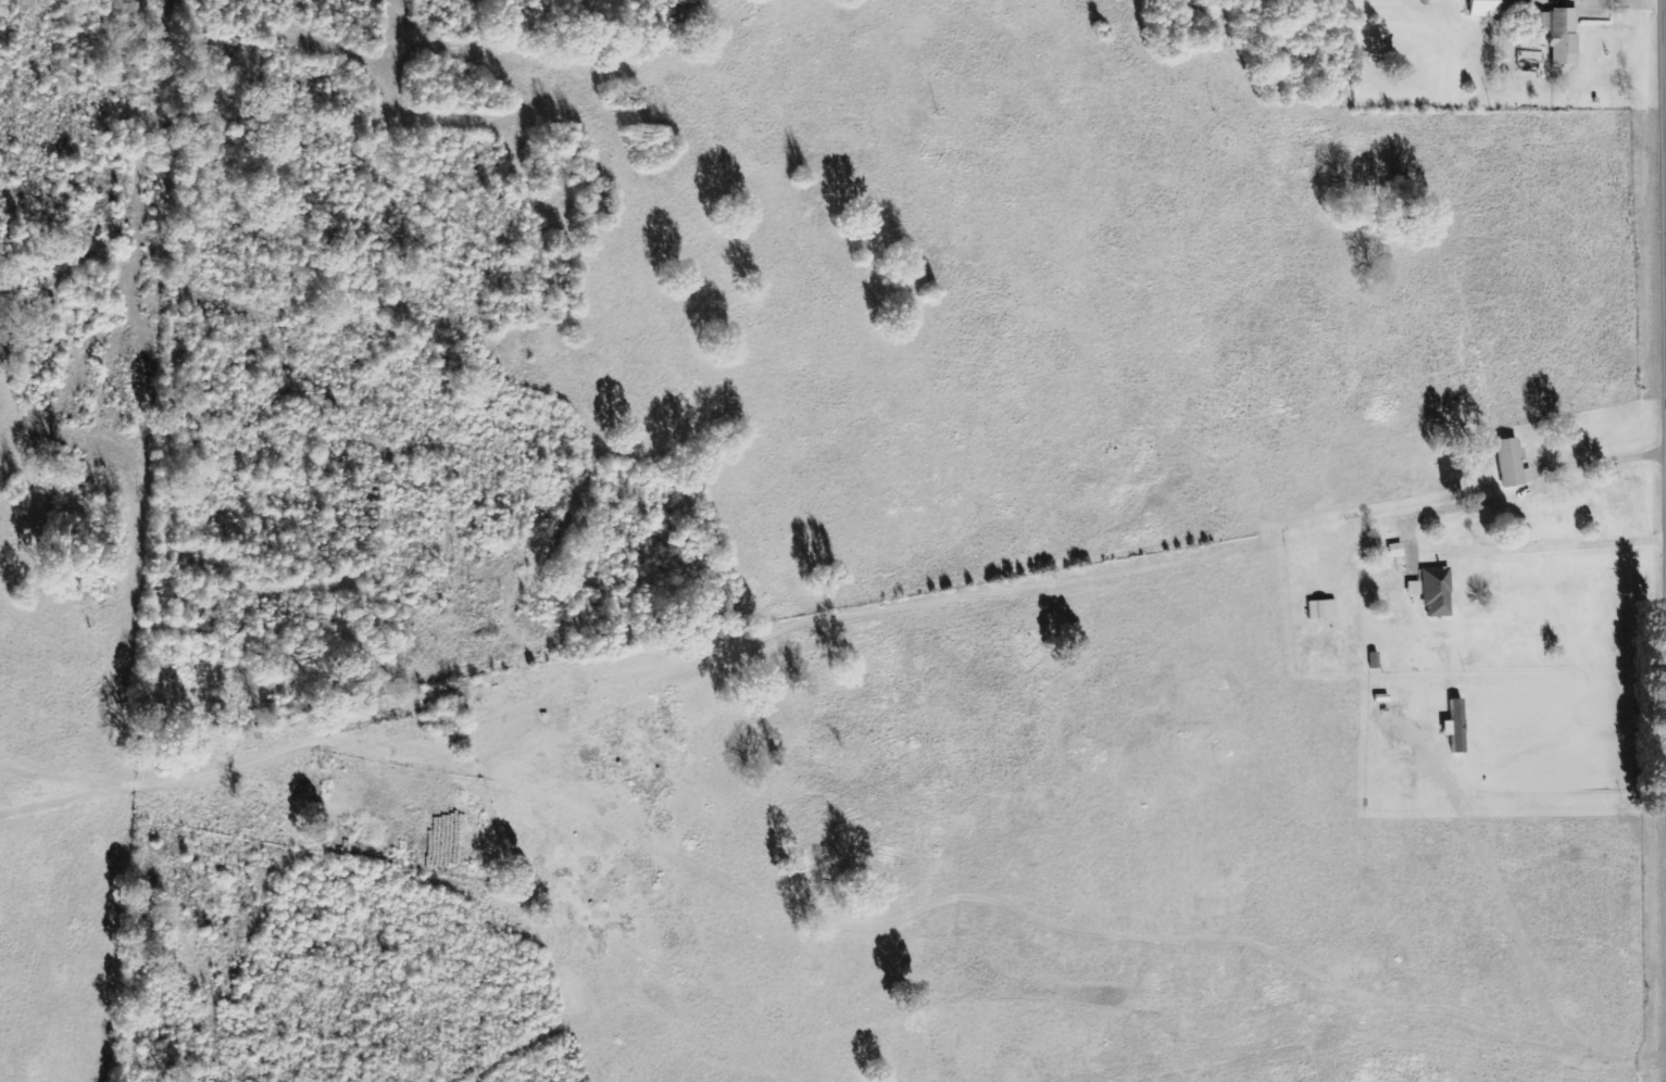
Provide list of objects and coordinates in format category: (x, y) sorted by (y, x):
building: (1479, 8)
road: (1664, 29)
building: (1555, 34)
road: (1665, 112)
building: (1507, 463)
building: (1430, 592)
building: (1318, 609)

